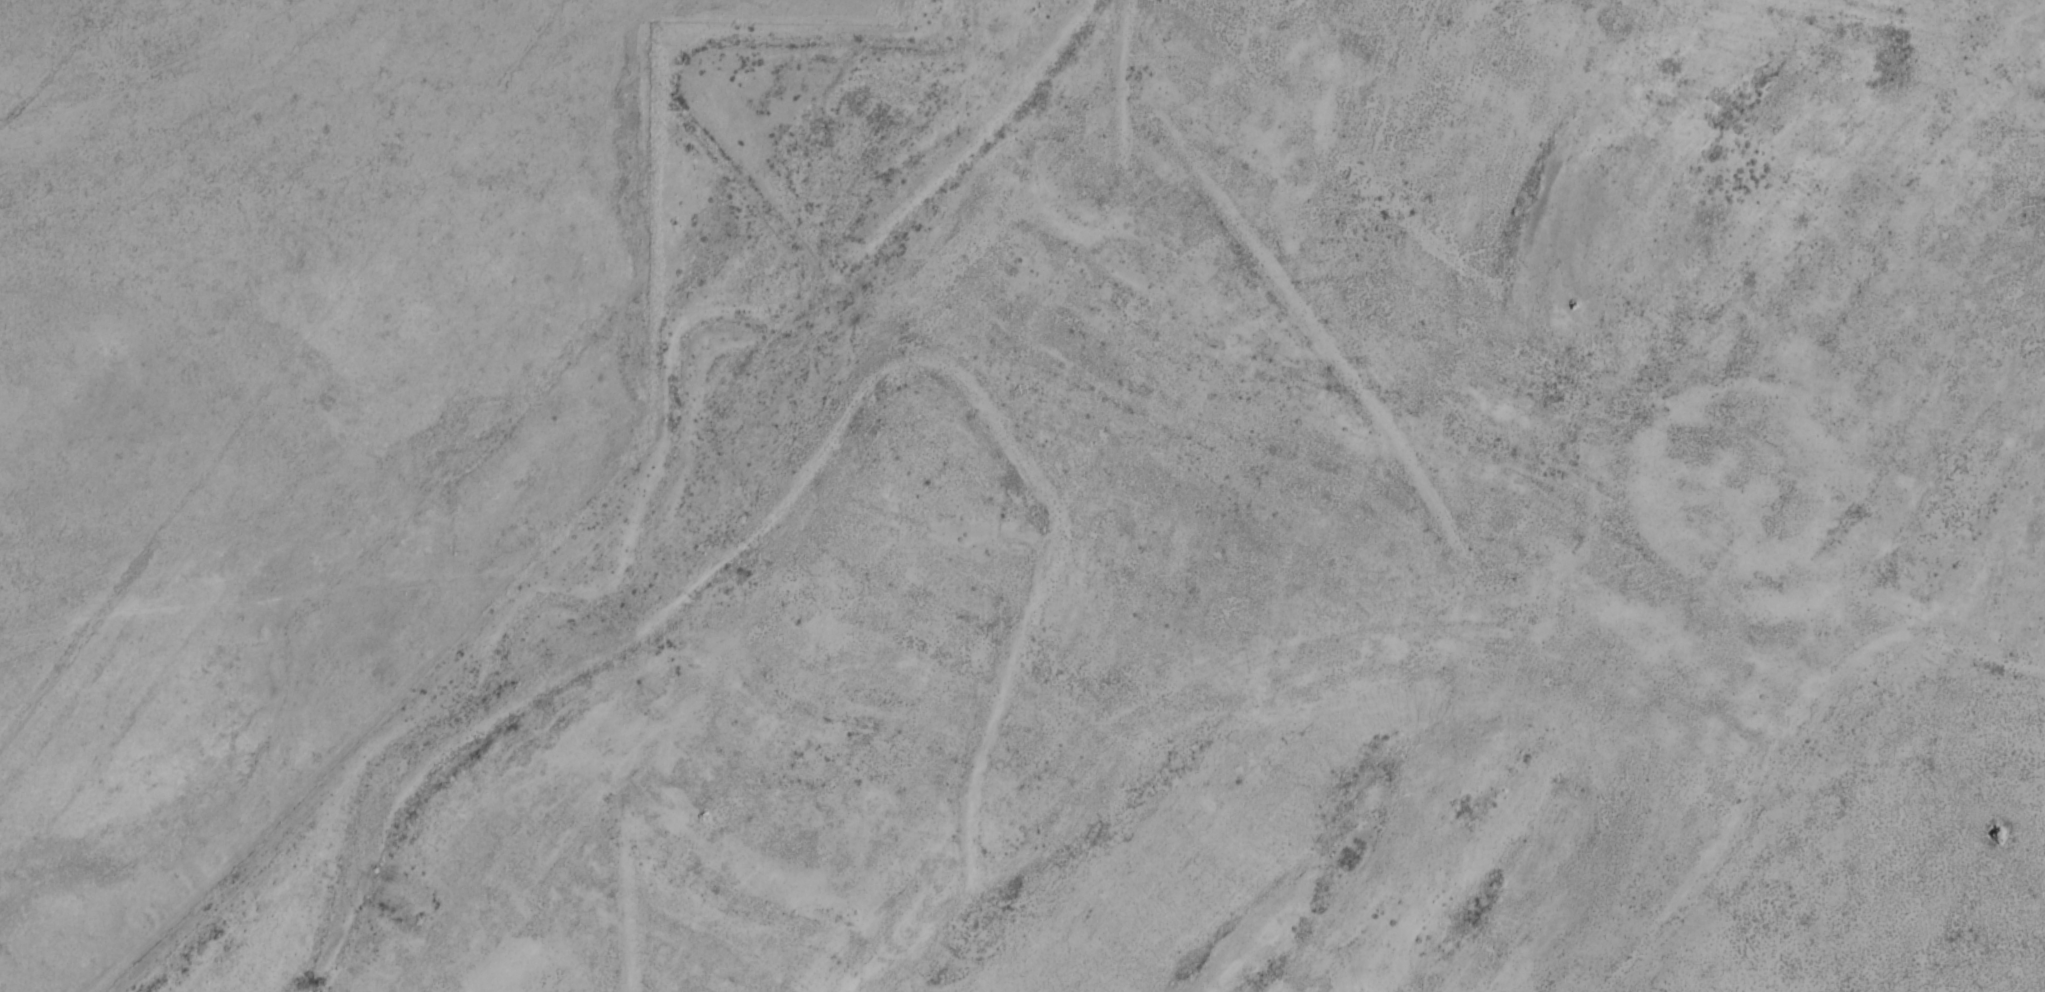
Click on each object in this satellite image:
quarry: (1336, 562)

